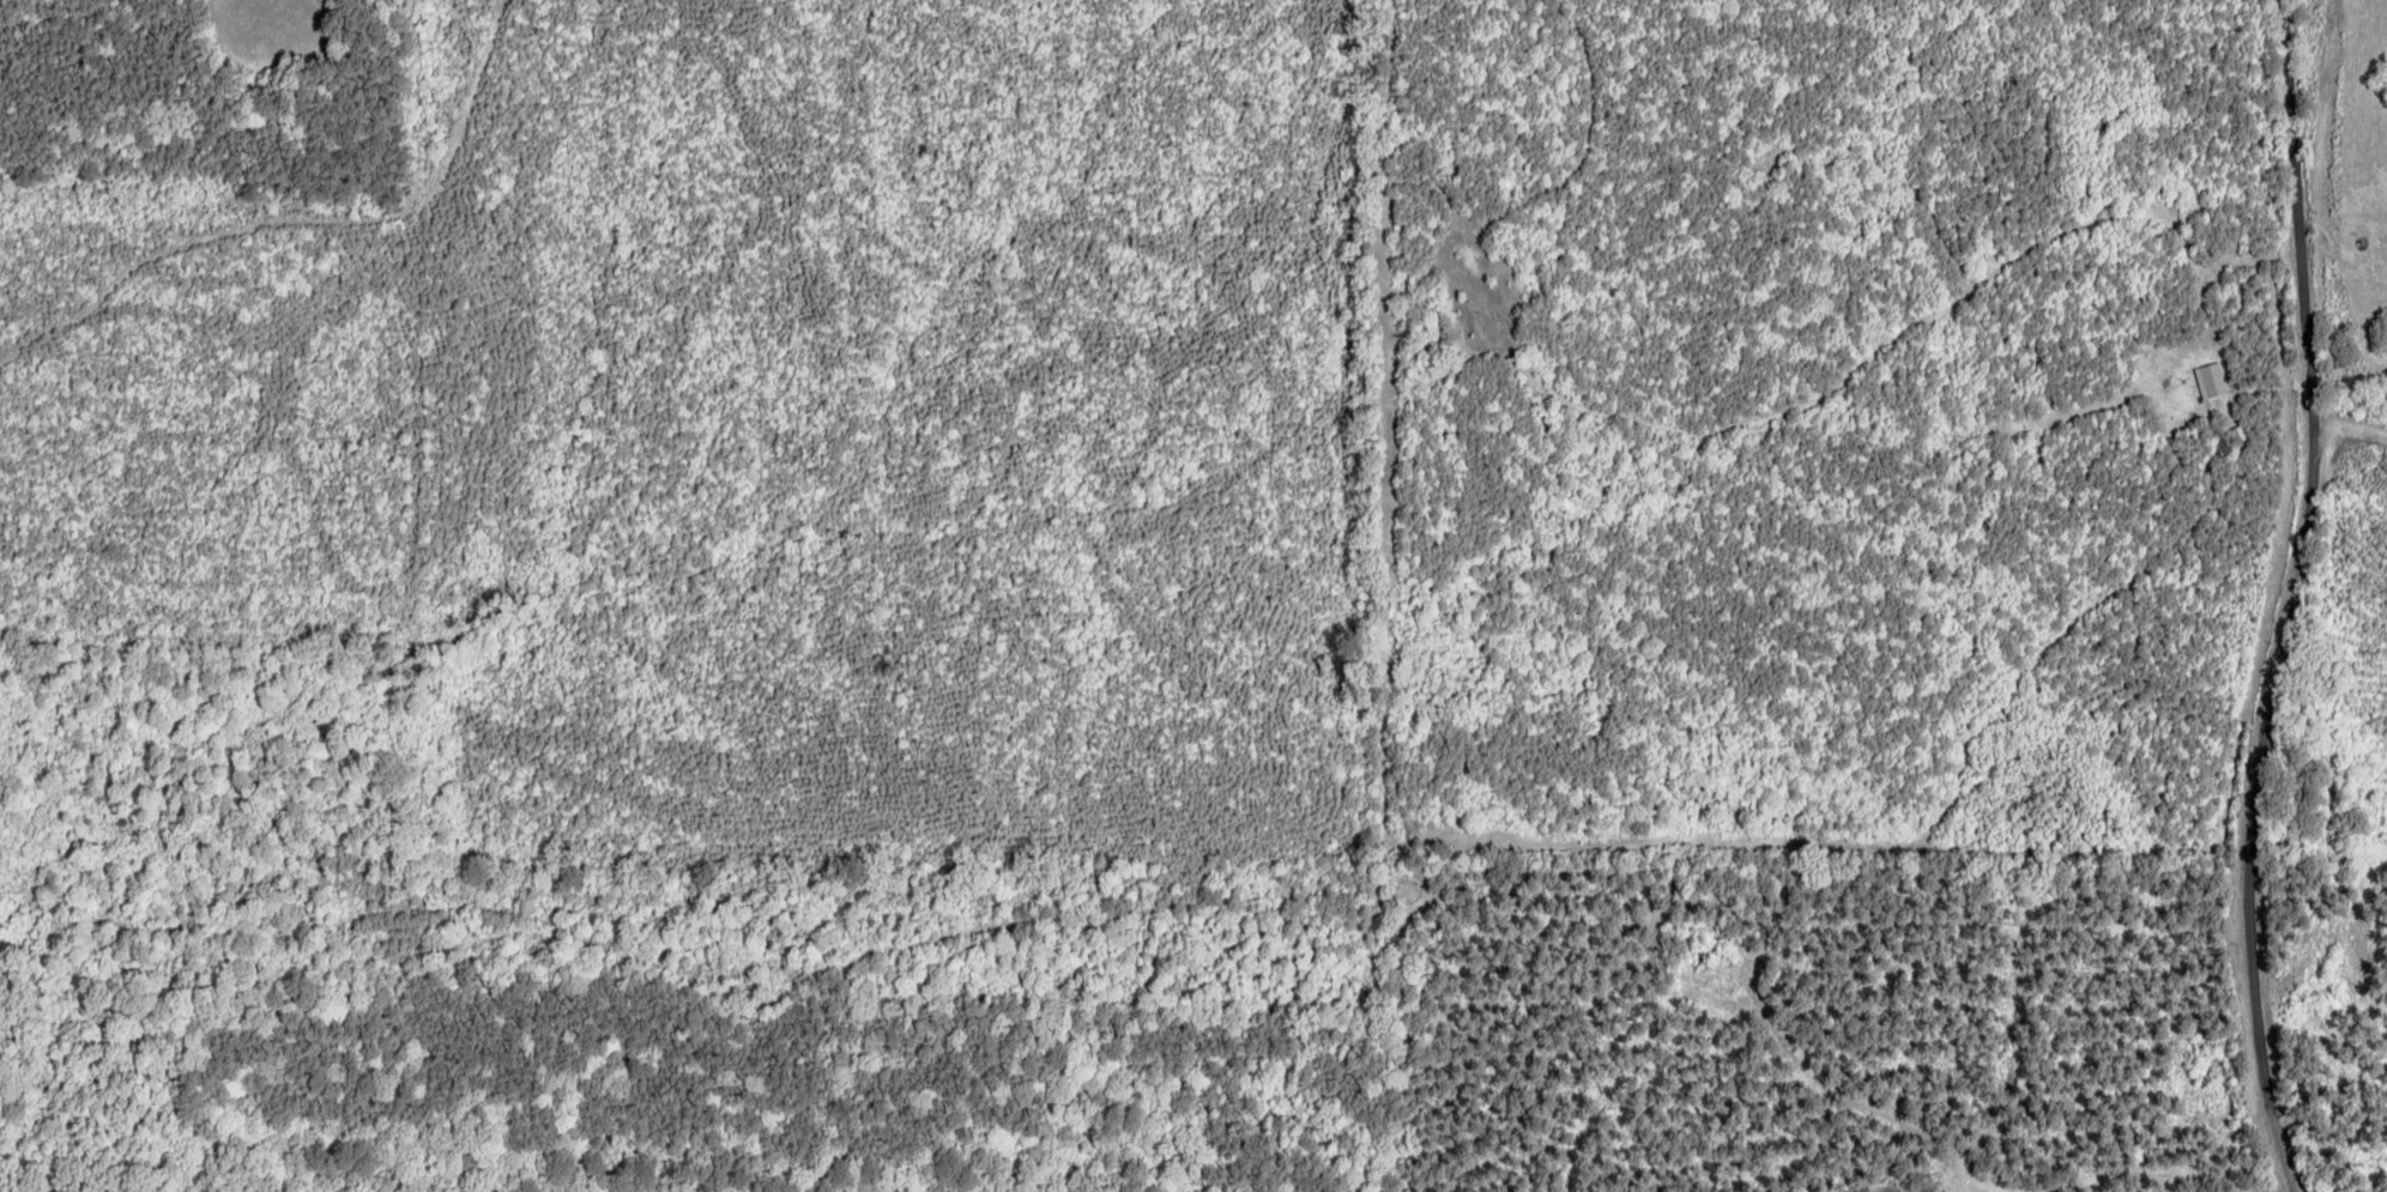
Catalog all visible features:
road: (2344, 458)
road: (2284, 599)

